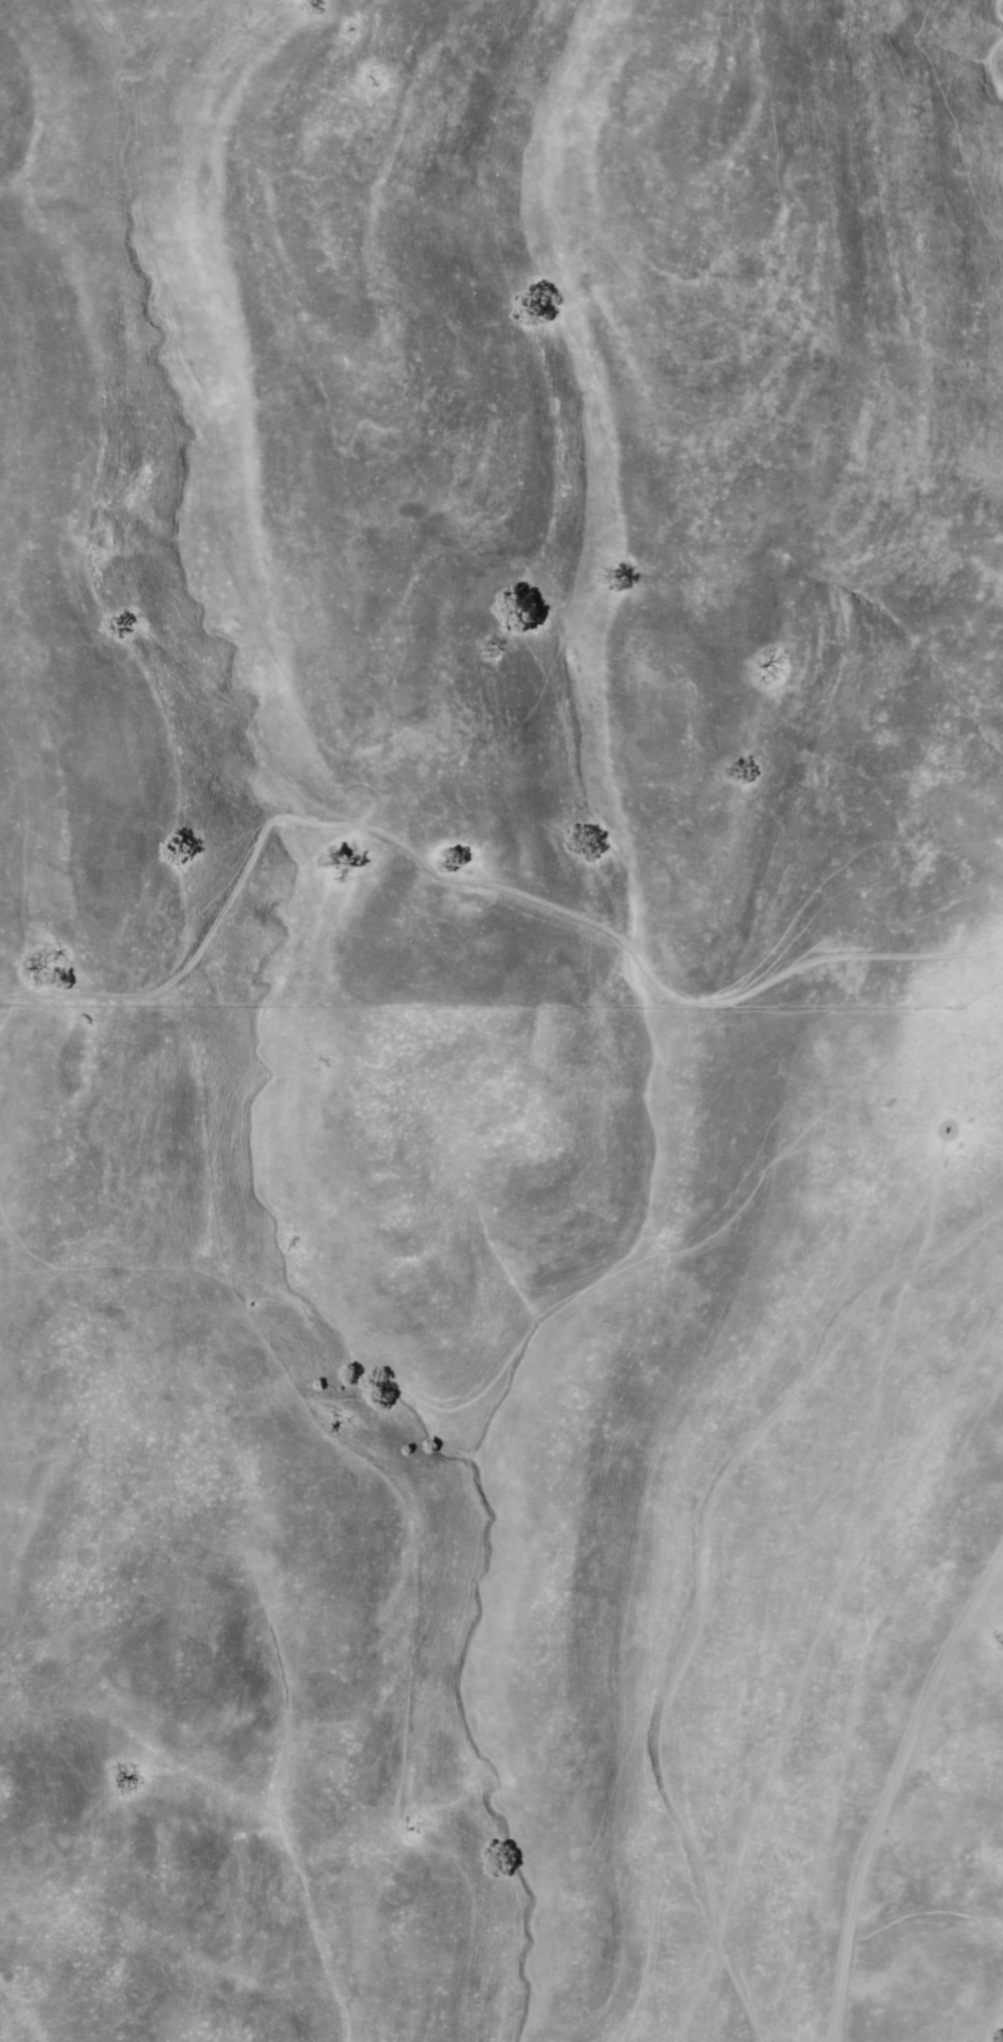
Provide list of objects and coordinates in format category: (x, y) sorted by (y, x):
road: (893, 1787)

